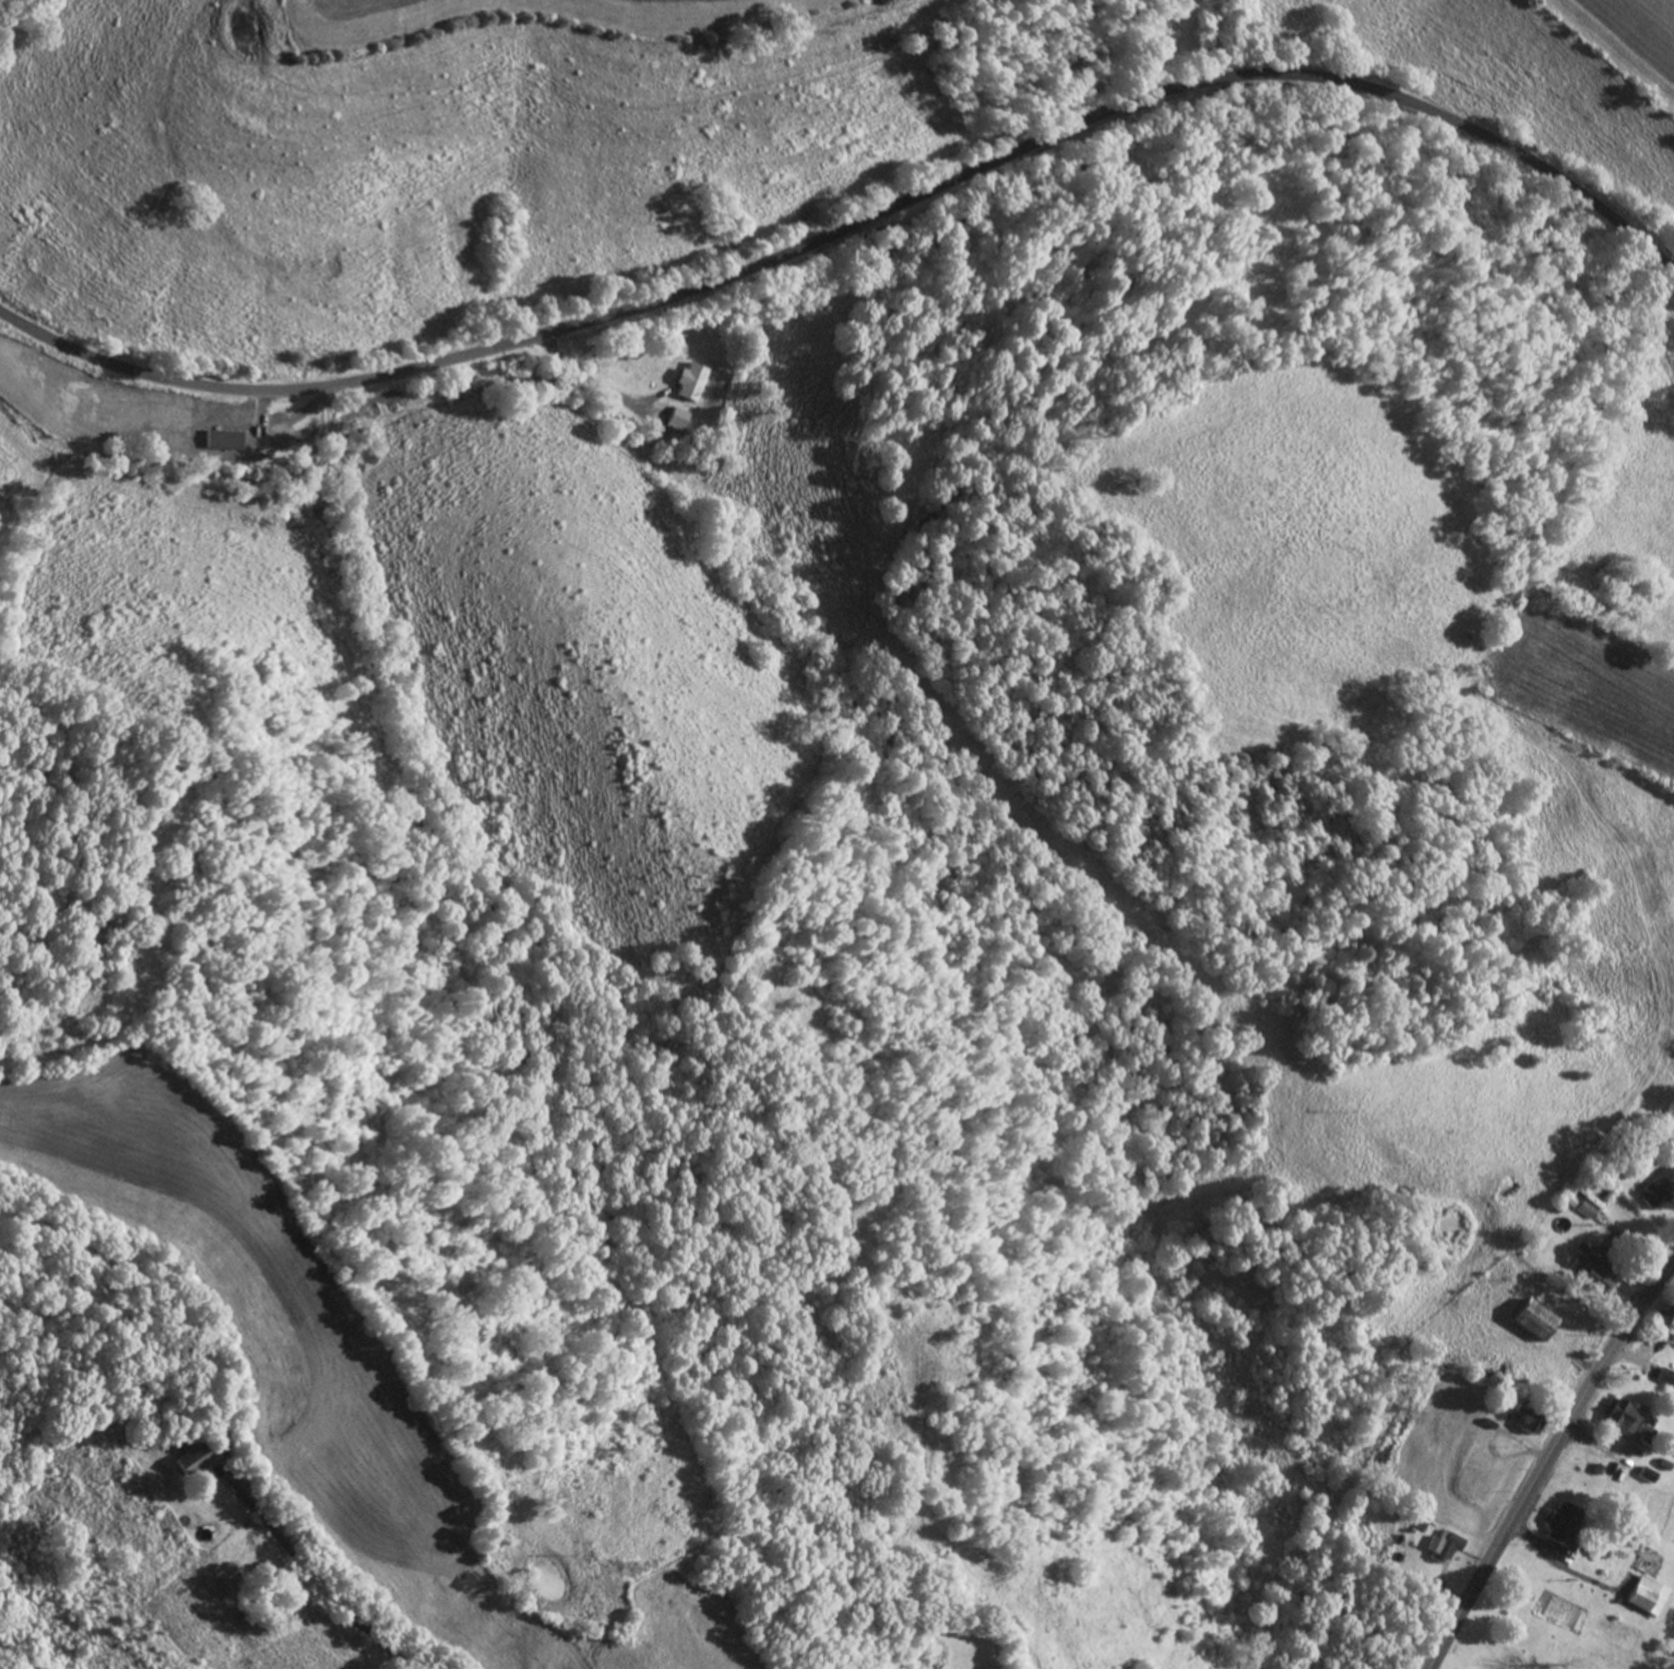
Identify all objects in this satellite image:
road: (858, 226)
building: (699, 382)
building: (684, 418)
building: (1659, 1188)
building: (1599, 1274)
building: (1535, 1321)
building: (1670, 1327)
building: (1666, 1376)
building: (1625, 1417)
building: (1528, 1420)
building: (1477, 1453)
building: (194, 1458)
road: (1544, 1460)
building: (1565, 1525)
building: (1448, 1547)
building: (1651, 1597)

